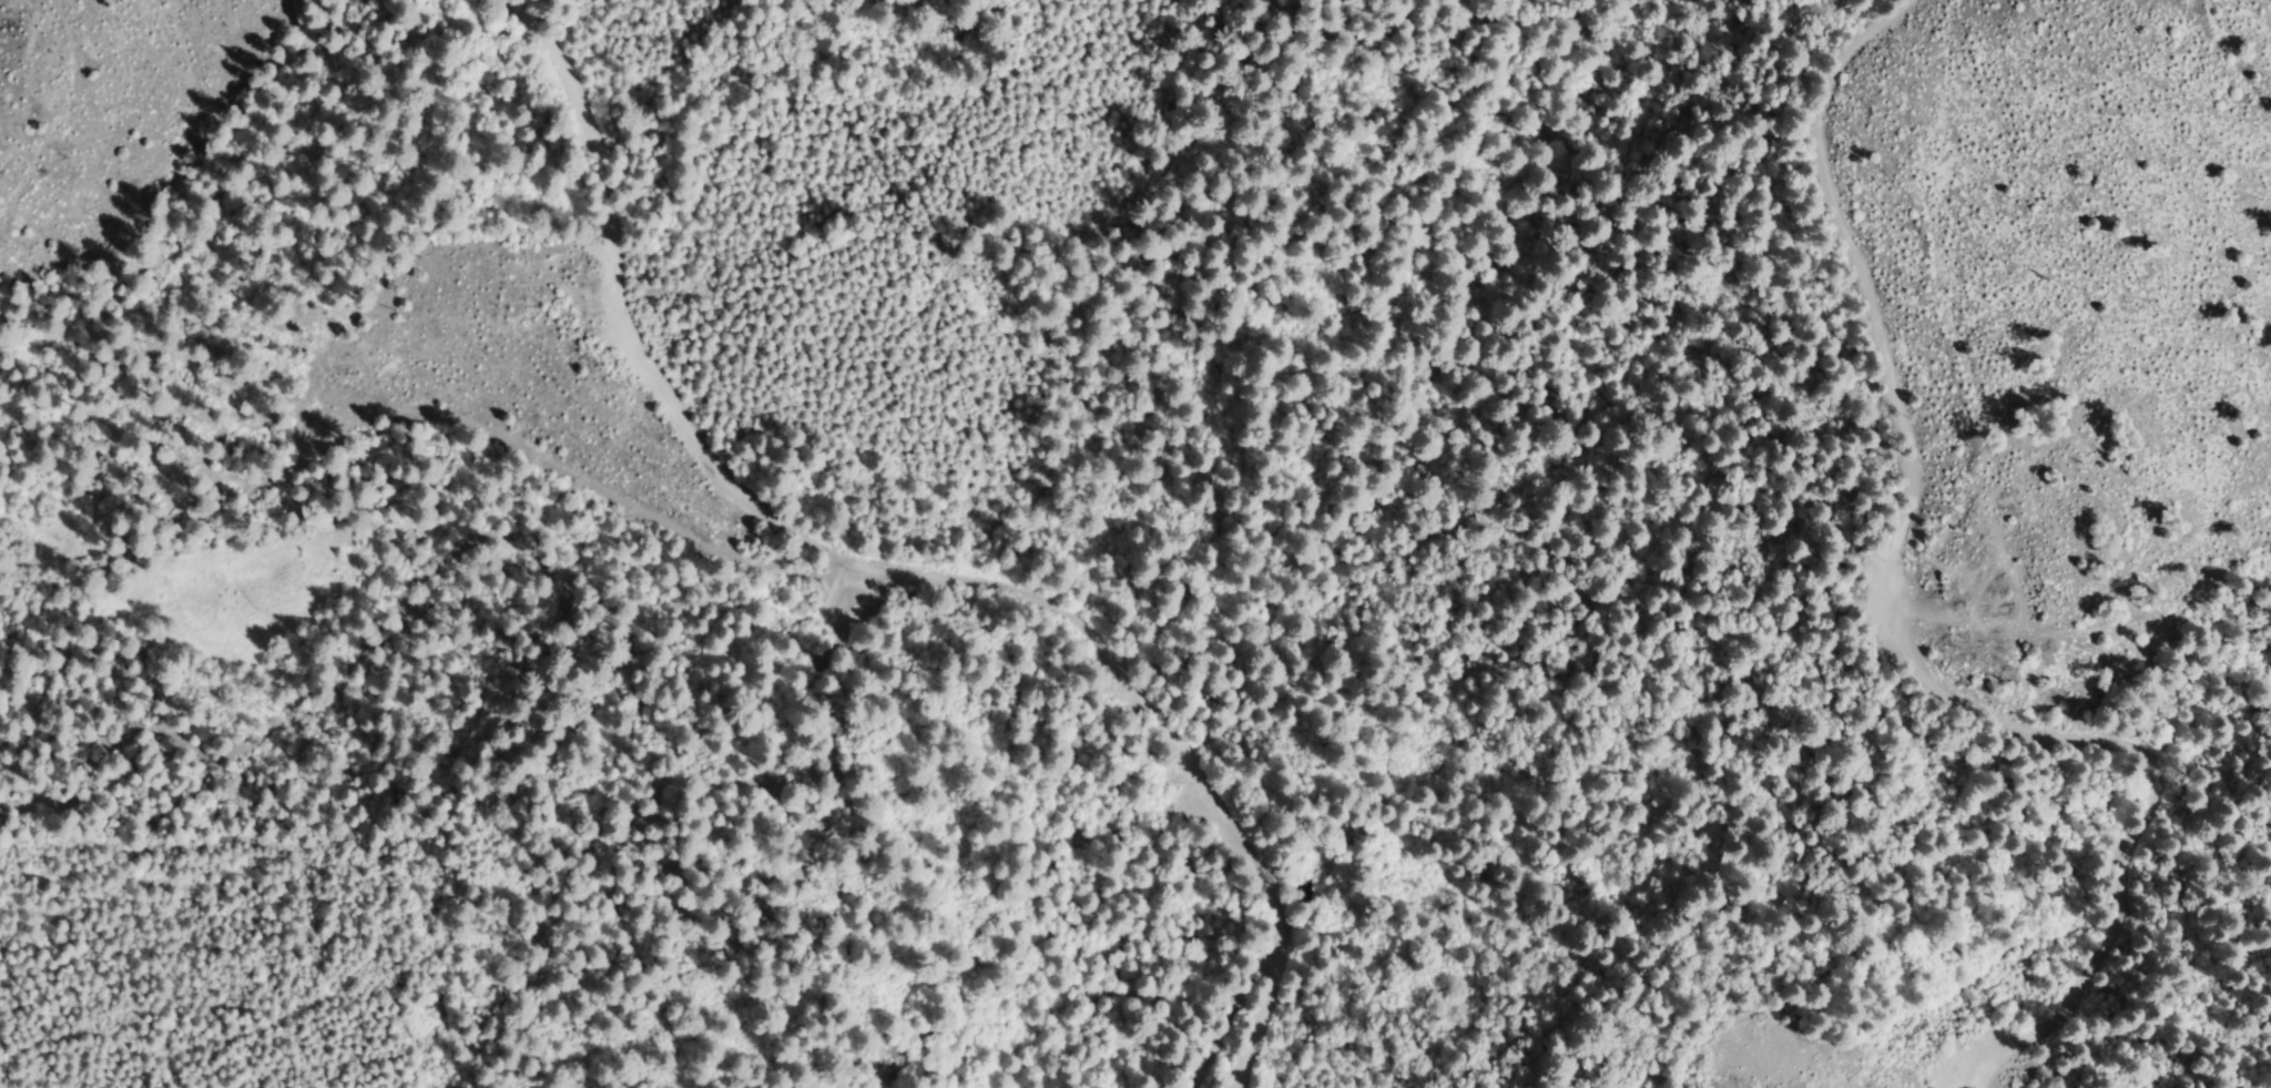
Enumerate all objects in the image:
road: (892, 565)
road: (1898, 629)
road: (1216, 1043)
road: (1963, 1079)

